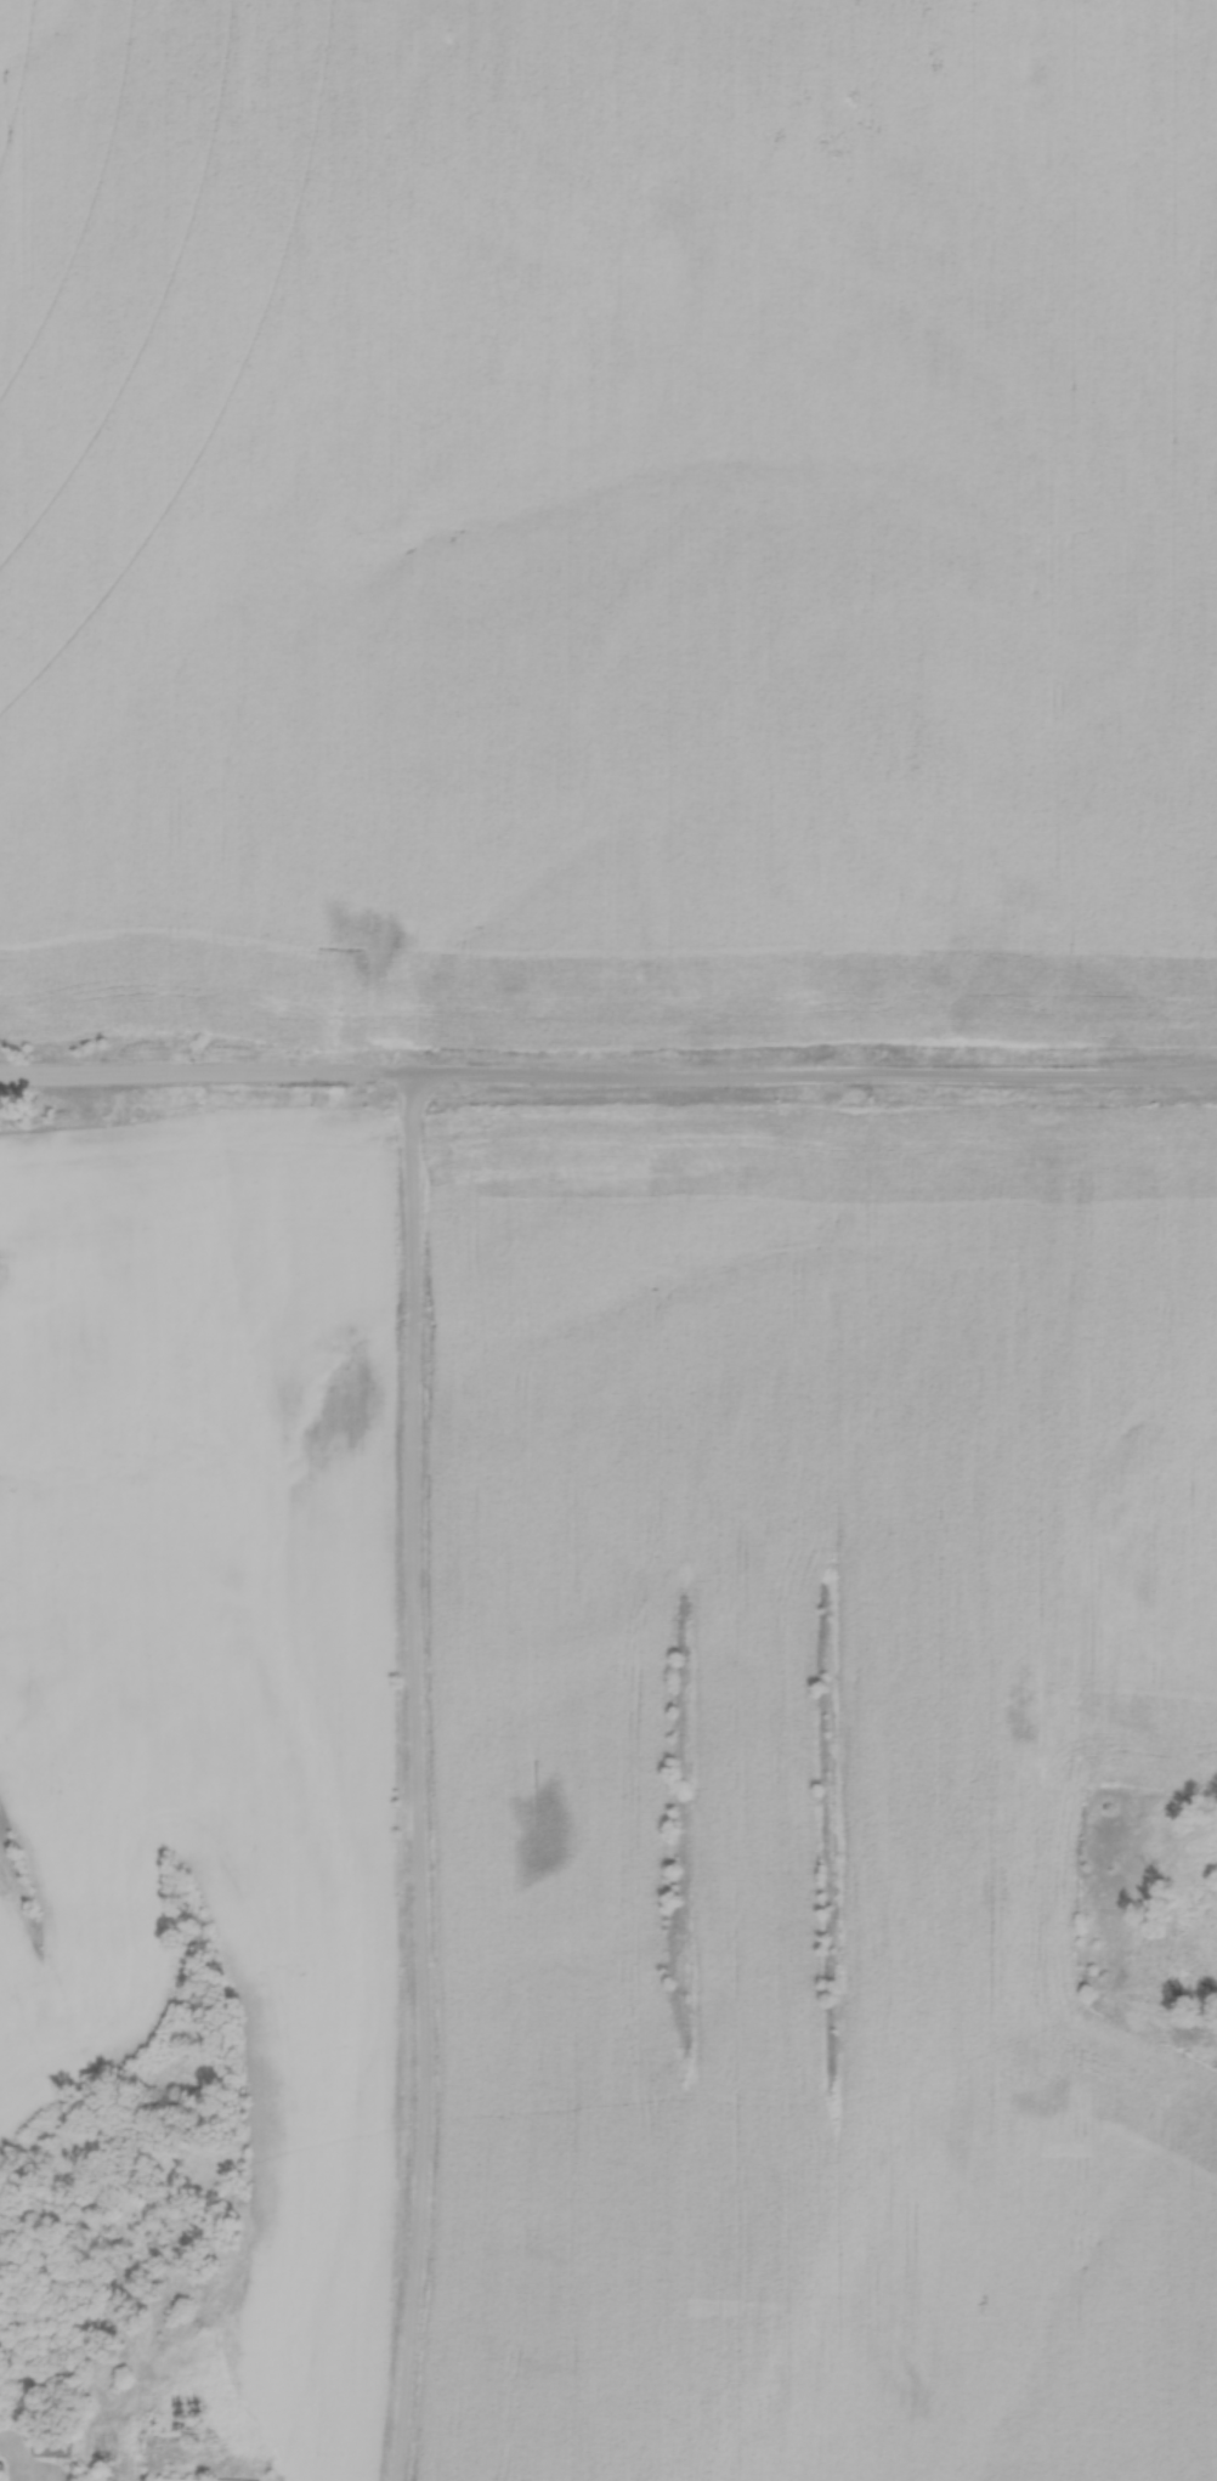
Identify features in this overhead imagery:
road: (608, 1077)
road: (411, 1778)
building: (206, 2476)
building: (0, 2479)

